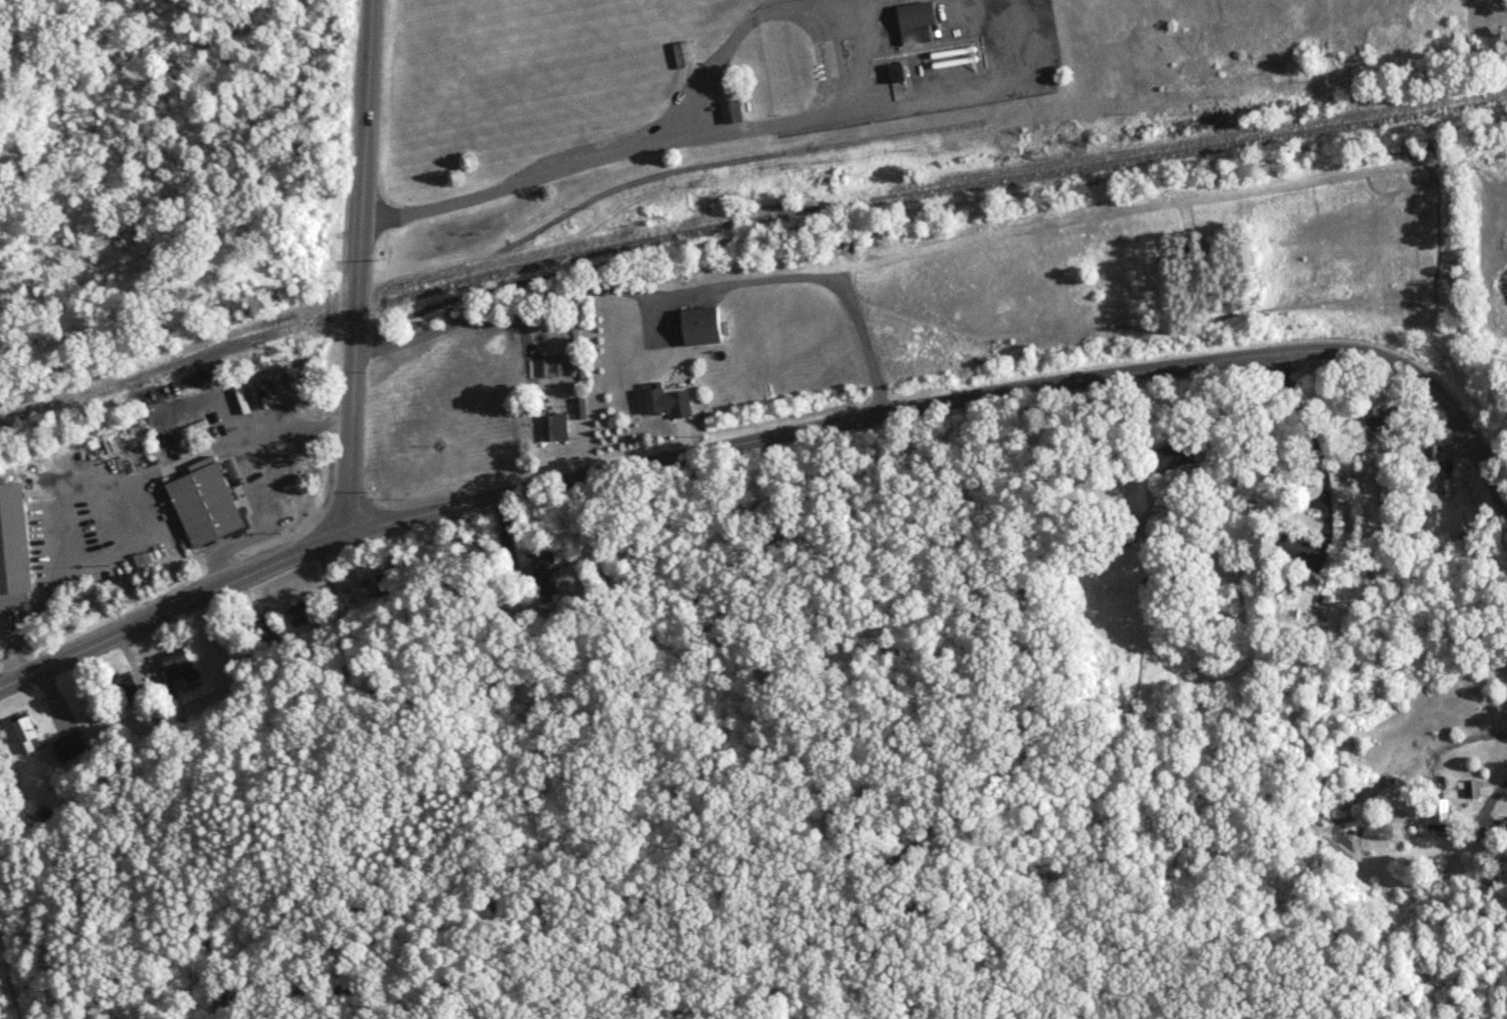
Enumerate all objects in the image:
road: (777, 6)
road: (741, 14)
building: (914, 23)
building: (681, 55)
building: (892, 73)
road: (871, 103)
building: (729, 112)
road: (572, 163)
road: (359, 267)
road: (837, 291)
building: (696, 328)
road: (960, 401)
building: (661, 403)
building: (1380, 416)
building: (556, 429)
road: (1311, 436)
road: (1493, 453)
building: (1172, 456)
building: (1435, 461)
road: (1251, 465)
road: (133, 493)
building: (210, 504)
road: (253, 520)
building: (16, 549)
building: (1298, 551)
building: (543, 573)
road: (173, 609)
building: (288, 623)
building: (182, 669)
building: (130, 695)
building: (30, 736)
building: (74, 747)
building: (1471, 790)
road: (1495, 796)
building: (1438, 815)

